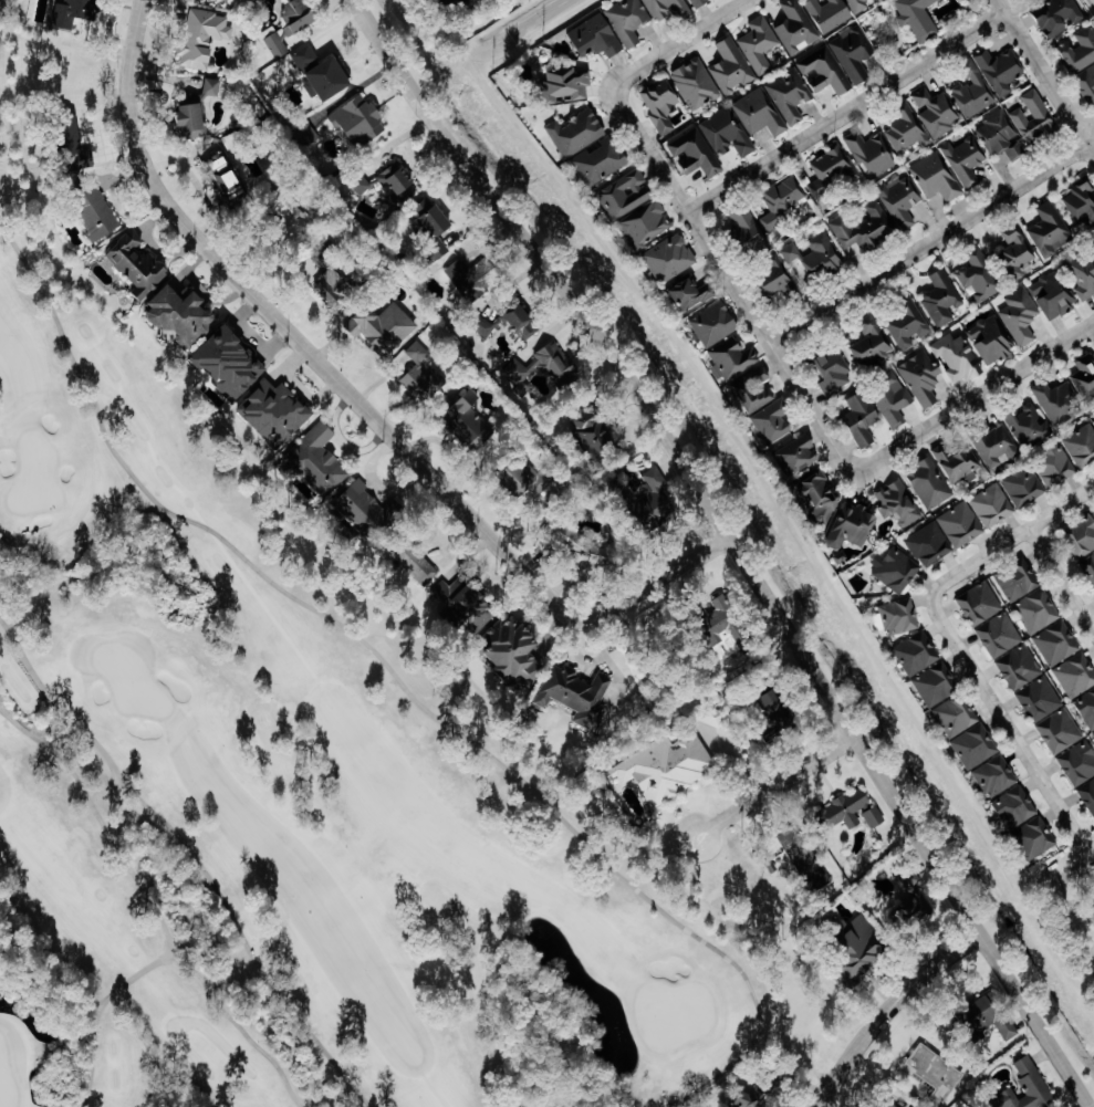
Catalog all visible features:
building: (1040, 0)
building: (466, 1)
building: (700, 2)
road: (1092, 2)
building: (861, 4)
building: (667, 9)
building: (71, 11)
building: (829, 13)
building: (1060, 15)
road: (538, 17)
building: (919, 18)
building: (629, 21)
building: (292, 25)
building: (796, 27)
building: (596, 35)
building: (206, 38)
road: (680, 43)
building: (759, 44)
building: (855, 53)
building: (731, 66)
building: (1001, 71)
building: (822, 72)
building: (324, 74)
road: (1044, 77)
building: (697, 84)
building: (1086, 84)
building: (973, 92)
building: (790, 97)
building: (661, 104)
building: (197, 111)
building: (937, 112)
building: (760, 113)
road: (852, 113)
building: (1035, 118)
building: (361, 121)
building: (904, 132)
building: (579, 133)
building: (726, 133)
building: (1001, 136)
building: (66, 146)
building: (694, 154)
building: (871, 154)
building: (966, 160)
building: (602, 161)
building: (831, 170)
building: (227, 176)
building: (936, 177)
building: (398, 179)
building: (363, 184)
building: (626, 194)
building: (780, 200)
building: (900, 200)
building: (1082, 207)
building: (91, 210)
building: (647, 224)
building: (436, 227)
building: (865, 229)
building: (1051, 230)
building: (749, 231)
road: (937, 248)
building: (1018, 253)
building: (816, 257)
building: (671, 259)
road: (728, 261)
building: (135, 262)
building: (1082, 273)
building: (980, 274)
building: (475, 276)
building: (778, 280)
building: (694, 294)
building: (1054, 295)
building: (942, 299)
building: (178, 312)
building: (1021, 315)
building: (524, 321)
building: (715, 323)
building: (487, 326)
building: (382, 327)
building: (907, 327)
building: (992, 340)
building: (871, 344)
building: (733, 357)
building: (957, 358)
building: (226, 361)
building: (834, 372)
building: (423, 374)
building: (923, 377)
building: (1085, 377)
building: (756, 388)
road: (363, 396)
building: (893, 399)
building: (1057, 401)
building: (270, 409)
road: (960, 416)
building: (863, 418)
building: (774, 420)
building: (471, 424)
building: (1027, 425)
building: (595, 432)
building: (1082, 445)
building: (997, 446)
building: (800, 453)
building: (315, 459)
building: (957, 462)
building: (1056, 466)
park: (35, 476)
building: (529, 478)
building: (930, 483)
building: (1024, 485)
building: (822, 492)
building: (657, 495)
building: (993, 505)
building: (364, 508)
road: (159, 510)
road: (166, 514)
building: (874, 515)
building: (961, 524)
road: (150, 534)
building: (1081, 536)
road: (738, 544)
building: (929, 544)
road: (1018, 549)
building: (409, 554)
building: (1088, 566)
building: (896, 570)
road: (1066, 576)
road: (71, 577)
building: (1018, 583)
building: (980, 603)
building: (463, 605)
building: (1038, 609)
building: (900, 616)
road: (14, 622)
building: (730, 623)
road: (12, 630)
building: (1000, 634)
building: (1057, 643)
building: (508, 650)
building: (917, 652)
building: (1020, 667)
building: (1076, 675)
park: (129, 679)
building: (936, 683)
road: (404, 686)
building: (573, 693)
building: (1040, 699)
building: (779, 706)
building: (1087, 707)
building: (957, 714)
building: (713, 716)
road: (1015, 729)
building: (1060, 731)
building: (976, 745)
building: (1079, 762)
building: (663, 764)
building: (996, 775)
park: (282, 789)
road: (774, 790)
building: (1087, 794)
road: (122, 796)
building: (1014, 807)
building: (848, 808)
building: (875, 816)
building: (1036, 837)
road: (194, 855)
building: (802, 857)
building: (769, 864)
road: (1074, 870)
road: (176, 885)
road: (150, 901)
building: (910, 902)
road: (1074, 917)
building: (854, 946)
road: (170, 959)
road: (892, 1007)
park: (673, 1013)
building: (993, 1016)
road: (237, 1023)
building: (936, 1073)
park: (6, 1085)
building: (757, 1087)
building: (1030, 1087)
building: (918, 1105)
building: (894, 1106)

